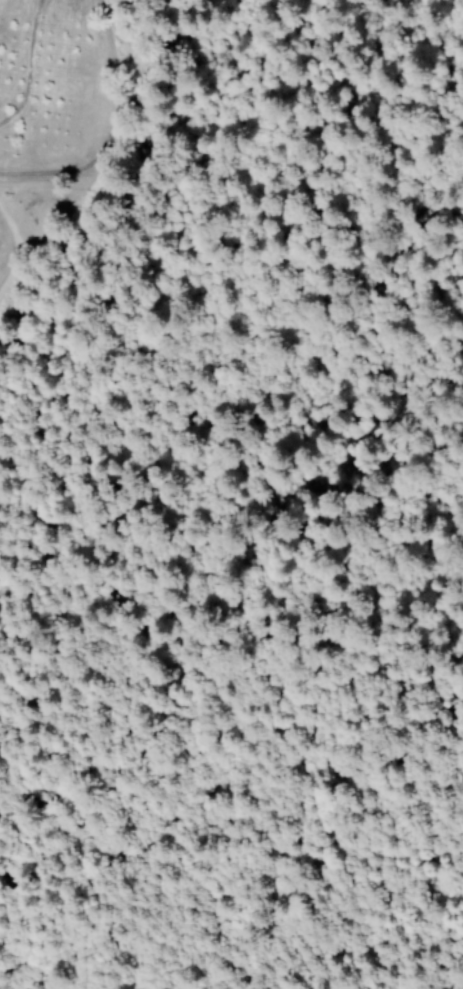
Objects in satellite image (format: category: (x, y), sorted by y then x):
road: (151, 560)

